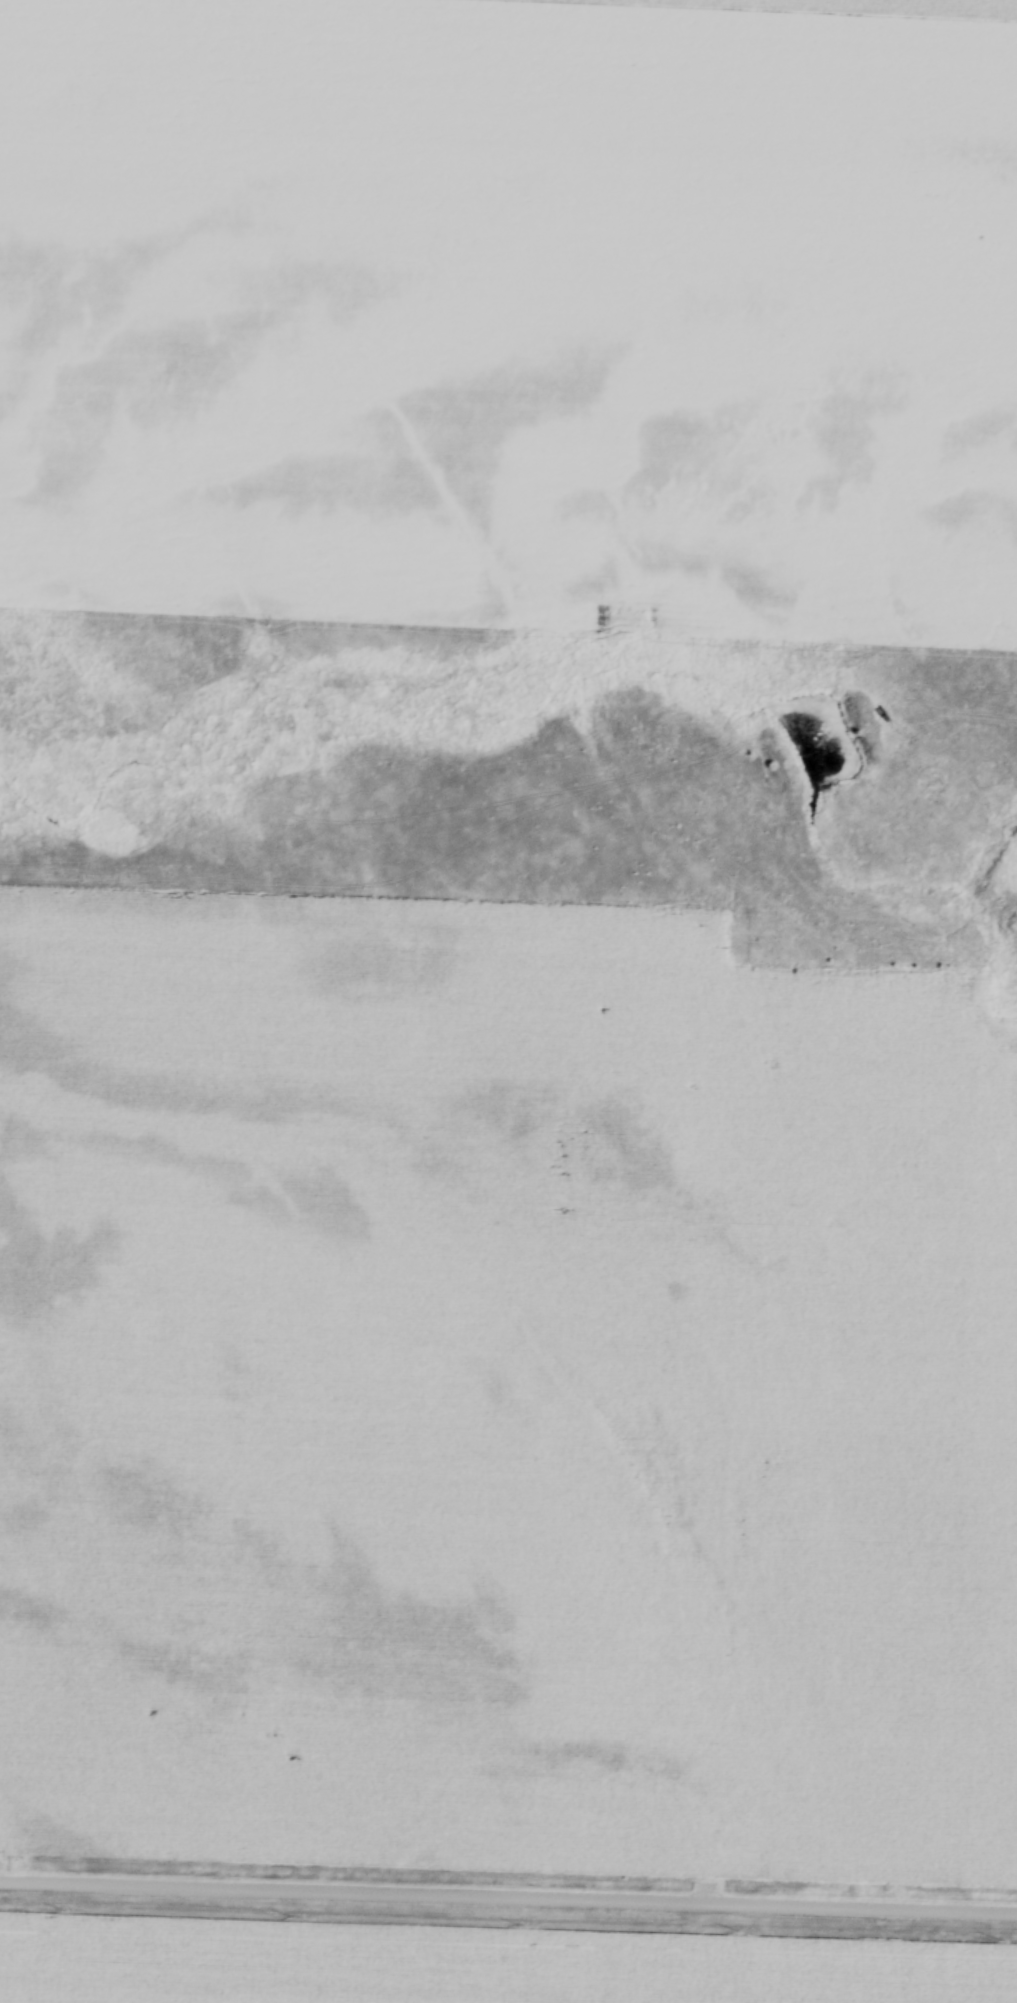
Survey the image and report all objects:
road: (508, 1895)

